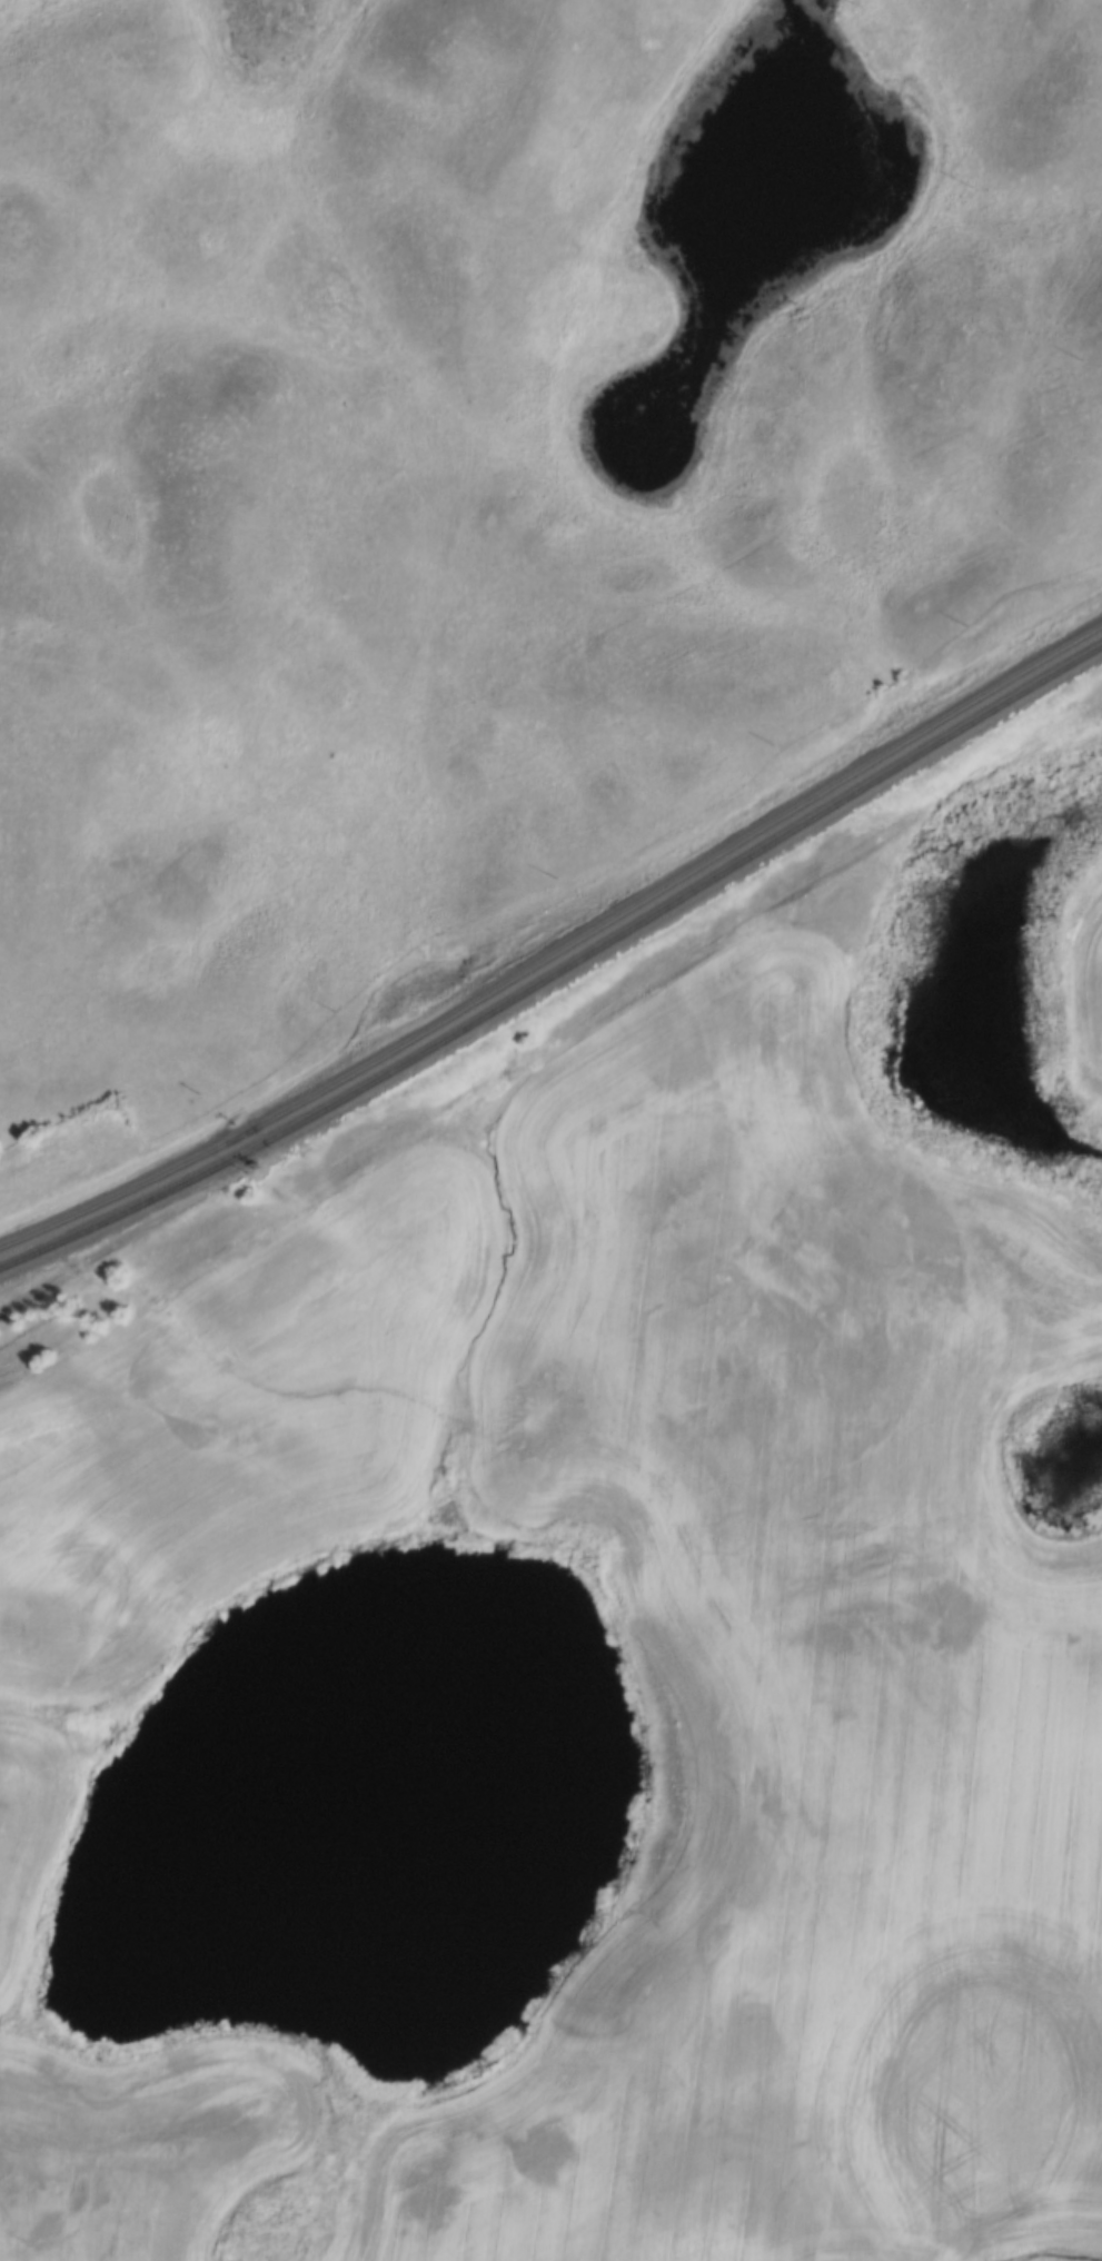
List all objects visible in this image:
road: (516, 614)
railway: (556, 936)
railway: (557, 969)

